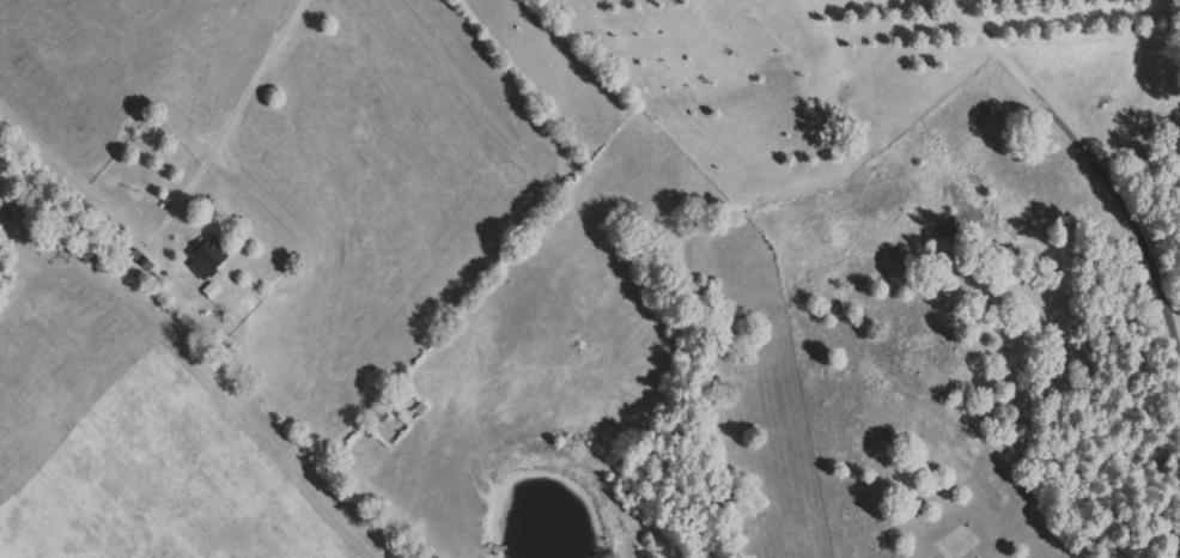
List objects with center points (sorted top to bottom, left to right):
road: (220, 4)
road: (1096, 165)
building: (208, 256)
road: (689, 279)

